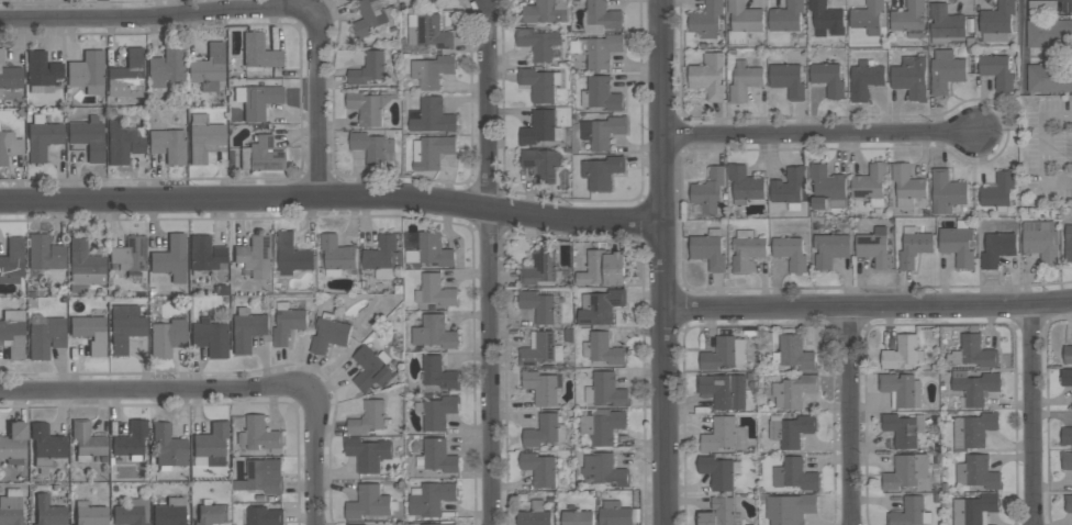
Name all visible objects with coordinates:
building: (434, 0)
road: (100, 8)
road: (253, 11)
building: (545, 12)
building: (371, 16)
building: (600, 18)
building: (785, 18)
building: (867, 18)
building: (826, 19)
building: (706, 20)
building: (909, 20)
building: (742, 21)
building: (996, 22)
building: (946, 24)
building: (427, 32)
building: (1049, 33)
road: (1021, 41)
building: (537, 43)
building: (599, 51)
building: (259, 52)
building: (1, 56)
building: (165, 66)
building: (209, 67)
building: (42, 68)
building: (368, 68)
building: (87, 71)
building: (432, 71)
building: (946, 71)
building: (996, 71)
building: (127, 75)
building: (708, 77)
building: (11, 78)
building: (909, 78)
building: (1049, 78)
building: (828, 80)
building: (864, 80)
building: (788, 81)
building: (744, 82)
building: (539, 83)
building: (600, 94)
building: (256, 100)
building: (368, 107)
building: (431, 116)
building: (537, 127)
building: (602, 132)
road: (822, 133)
building: (42, 136)
building: (88, 137)
building: (203, 137)
building: (123, 142)
building: (168, 144)
building: (9, 146)
building: (372, 147)
road: (1041, 148)
building: (431, 153)
building: (260, 155)
building: (541, 164)
building: (602, 172)
building: (744, 185)
building: (870, 185)
building: (906, 186)
building: (788, 188)
building: (826, 188)
building: (708, 190)
building: (997, 191)
building: (946, 192)
road: (332, 197)
building: (1040, 241)
building: (958, 244)
building: (1068, 244)
building: (997, 245)
building: (913, 247)
building: (829, 248)
building: (874, 248)
building: (426, 249)
building: (708, 250)
building: (746, 250)
building: (45, 253)
building: (130, 254)
building: (790, 254)
building: (205, 255)
building: (291, 255)
building: (255, 256)
building: (336, 256)
building: (382, 257)
building: (170, 258)
building: (12, 260)
road: (662, 261)
road: (489, 262)
building: (85, 266)
building: (602, 268)
building: (540, 269)
building: (435, 291)
building: (537, 306)
building: (600, 306)
road: (867, 306)
building: (286, 323)
building: (125, 325)
building: (246, 329)
building: (90, 332)
building: (12, 333)
building: (434, 333)
building: (328, 335)
building: (210, 336)
building: (46, 337)
building: (167, 337)
building: (602, 349)
building: (539, 350)
building: (795, 353)
building: (900, 353)
building: (973, 353)
building: (724, 354)
building: (1067, 355)
building: (371, 369)
building: (437, 373)
building: (1067, 378)
road: (228, 386)
building: (541, 388)
building: (974, 388)
building: (605, 390)
building: (901, 390)
building: (723, 391)
building: (793, 391)
building: (438, 412)
road: (1031, 414)
road: (848, 416)
building: (367, 418)
building: (602, 426)
building: (903, 428)
building: (544, 431)
building: (790, 431)
building: (972, 431)
building: (258, 436)
building: (723, 436)
building: (1065, 436)
building: (87, 440)
building: (132, 440)
building: (13, 443)
building: (46, 445)
building: (210, 445)
building: (169, 446)
building: (368, 454)
building: (436, 456)
building: (1067, 461)
building: (538, 469)
building: (604, 470)
building: (717, 471)
building: (907, 473)
building: (976, 473)
building: (793, 474)
building: (261, 477)
building: (431, 499)
building: (368, 503)
building: (1068, 503)
building: (11, 507)
building: (790, 509)
building: (974, 510)
building: (48, 512)
building: (170, 512)
building: (89, 513)
building: (132, 513)
building: (212, 513)
building: (721, 513)
building: (909, 513)
building: (614, 514)
building: (534, 515)
building: (264, 516)
building: (577, 518)
building: (355, 524)
building: (439, 524)

